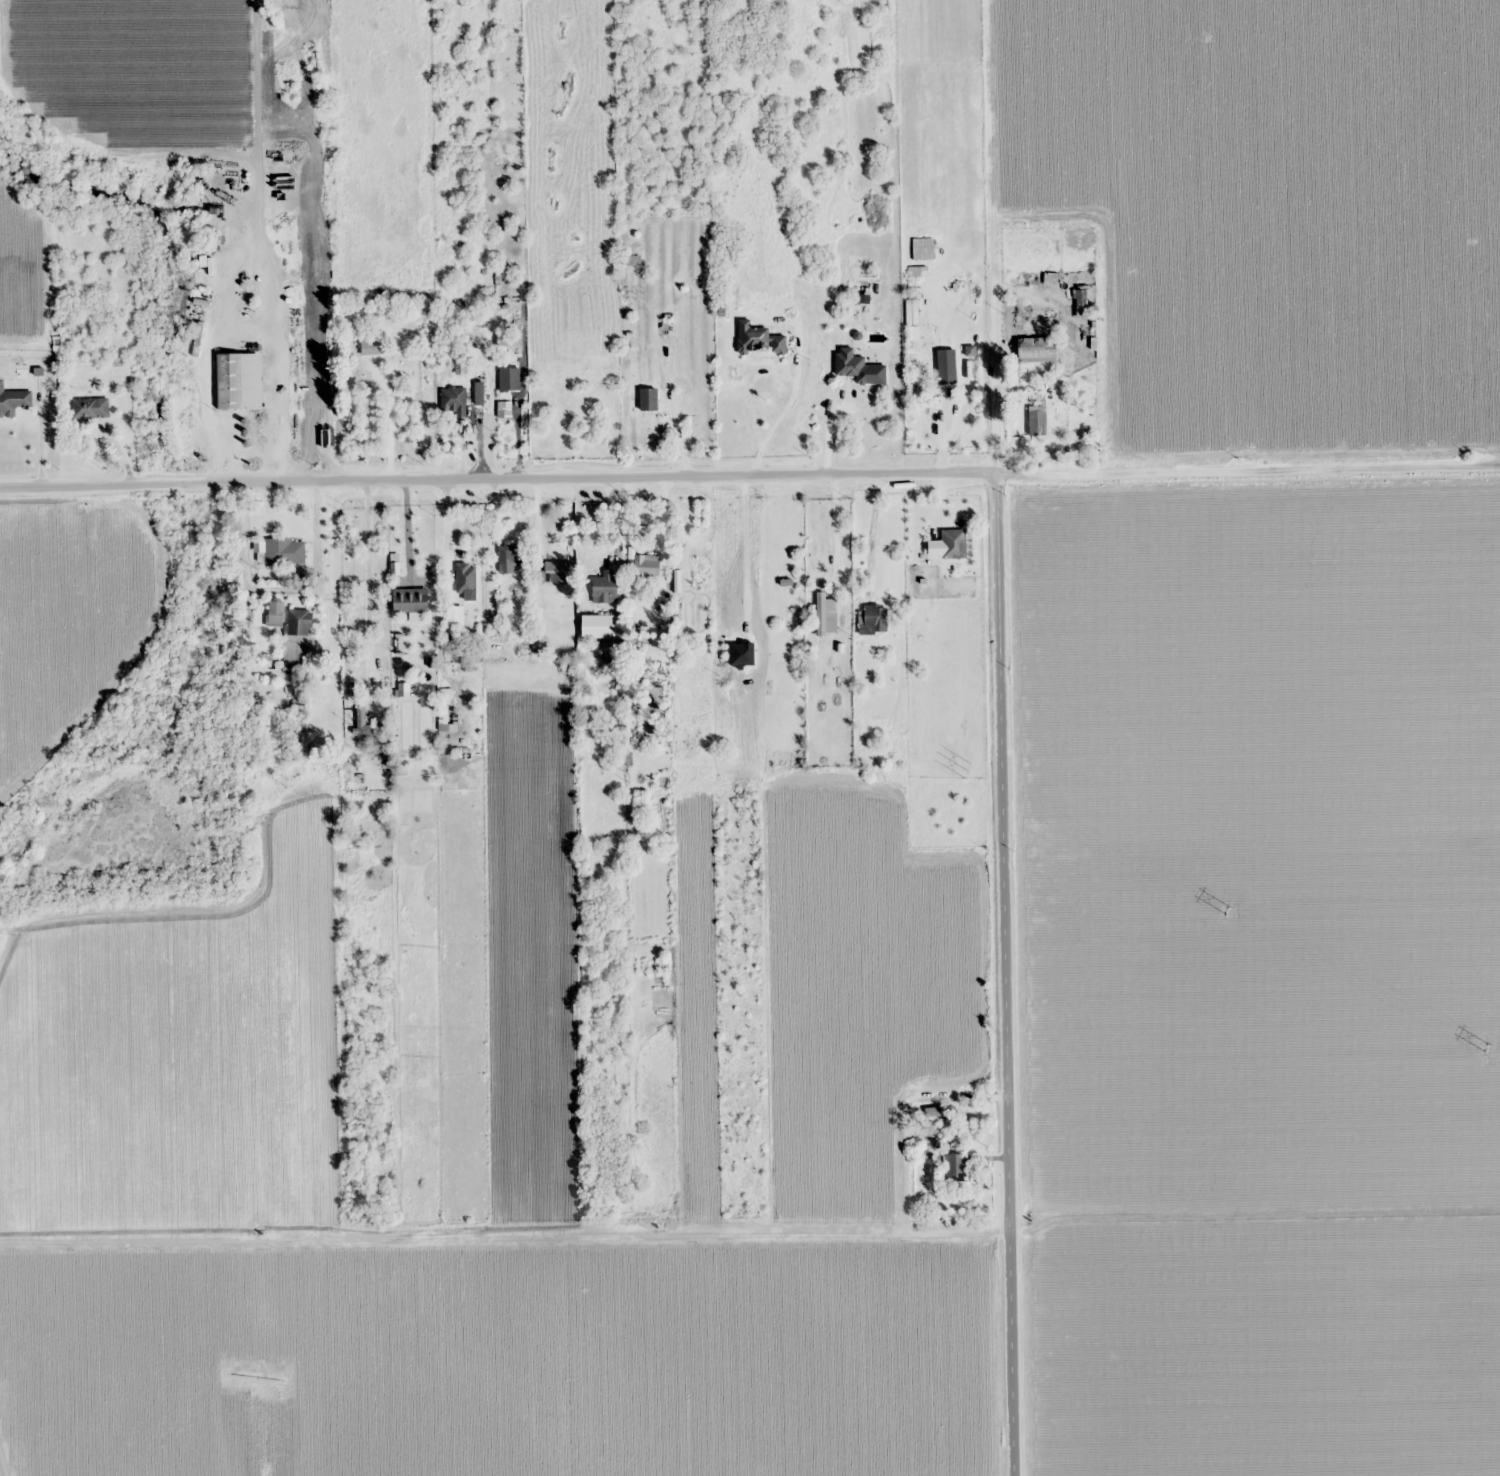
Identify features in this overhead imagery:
building: (631, 259)
building: (1081, 298)
building: (760, 340)
building: (1037, 349)
building: (947, 366)
building: (460, 368)
building: (240, 381)
building: (423, 381)
building: (497, 384)
building: (649, 399)
building: (13, 400)
building: (454, 400)
building: (91, 408)
building: (1039, 423)
road: (1249, 460)
road: (499, 464)
building: (954, 544)
building: (285, 552)
building: (510, 558)
building: (644, 565)
building: (702, 572)
building: (555, 576)
building: (466, 577)
building: (606, 584)
building: (411, 600)
building: (275, 614)
building: (826, 615)
building: (873, 619)
building: (602, 626)
building: (296, 639)
building: (360, 723)
power tower: (966, 768)
power tower: (625, 776)
power tower: (286, 781)
power tower: (1227, 908)
road: (1005, 969)
power tower: (1486, 1047)
building: (956, 1167)

